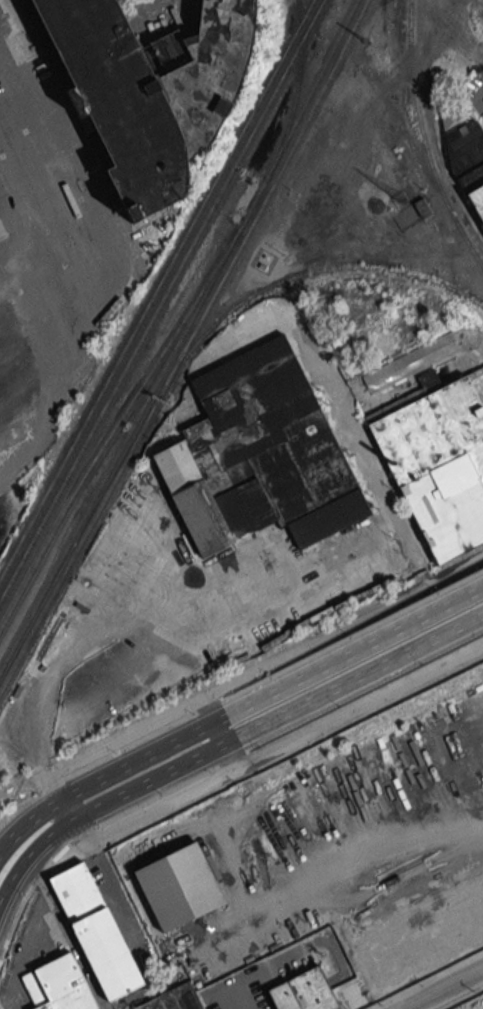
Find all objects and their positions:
building: (200, 68)
road: (0, 76)
railway: (310, 91)
railway: (295, 94)
railway: (319, 94)
building: (116, 101)
railway: (259, 101)
railway: (268, 103)
railway: (424, 141)
building: (468, 162)
building: (420, 207)
railway: (439, 283)
railway: (217, 290)
railway: (256, 292)
road: (77, 315)
railway: (101, 391)
railway: (124, 402)
railway: (105, 404)
road: (358, 449)
building: (259, 454)
building: (437, 460)
railway: (82, 520)
railway: (81, 542)
road: (173, 612)
road: (351, 636)
road: (254, 672)
road: (363, 692)
road: (207, 707)
road: (208, 710)
road: (236, 712)
road: (220, 733)
road: (224, 744)
road: (130, 746)
road: (273, 750)
road: (230, 756)
road: (231, 759)
road: (54, 786)
road: (156, 798)
road: (20, 804)
road: (68, 810)
road: (82, 836)
building: (178, 886)
road: (27, 897)
road: (112, 901)
building: (94, 931)
building: (56, 985)
road: (441, 987)
building: (311, 991)
building: (283, 997)
building: (173, 999)

